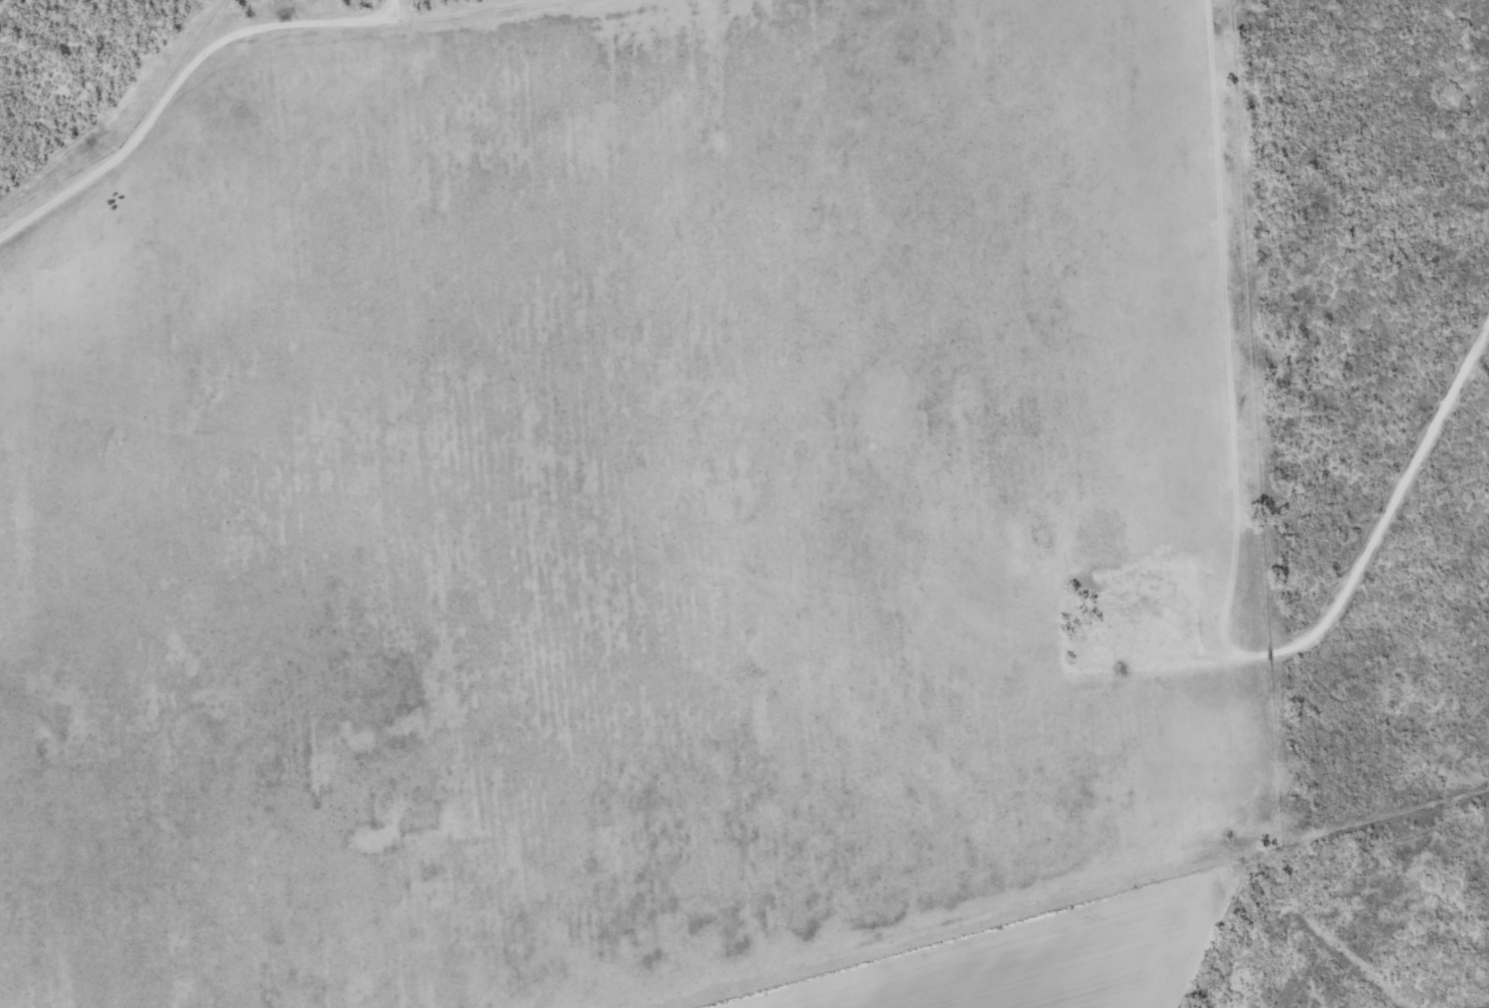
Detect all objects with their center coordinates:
road: (178, 81)
road: (1373, 544)

